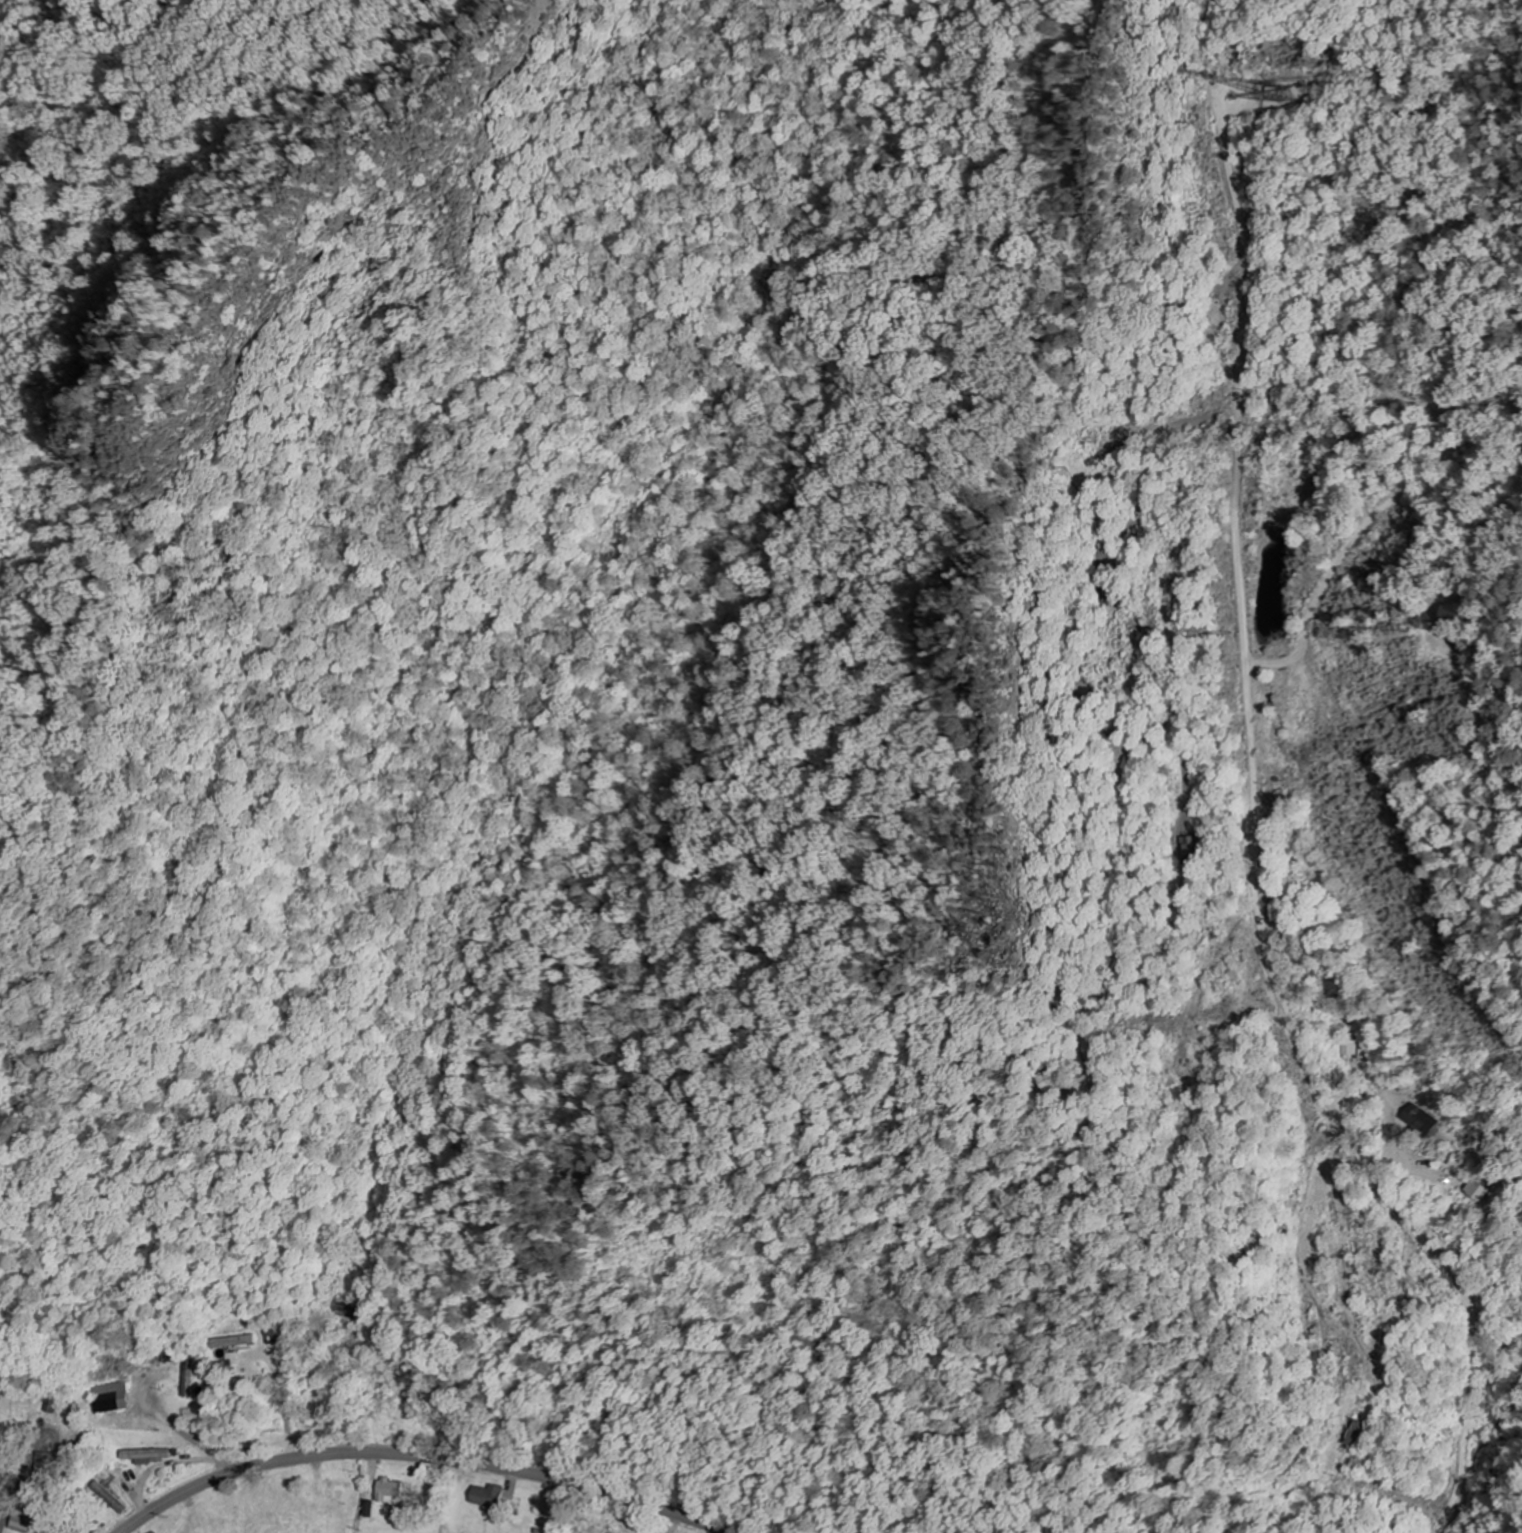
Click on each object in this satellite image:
road: (1242, 357)
road: (1380, 511)
road: (1460, 541)
building: (1105, 596)
building: (1452, 615)
road: (531, 711)
building: (1048, 1080)
building: (1420, 1119)
road: (1327, 1120)
building: (1478, 1191)
building: (233, 1341)
building: (110, 1397)
park: (12, 1435)
building: (145, 1455)
road: (423, 1458)
building: (390, 1489)
building: (488, 1495)
building: (370, 1508)
building: (24, 1520)

